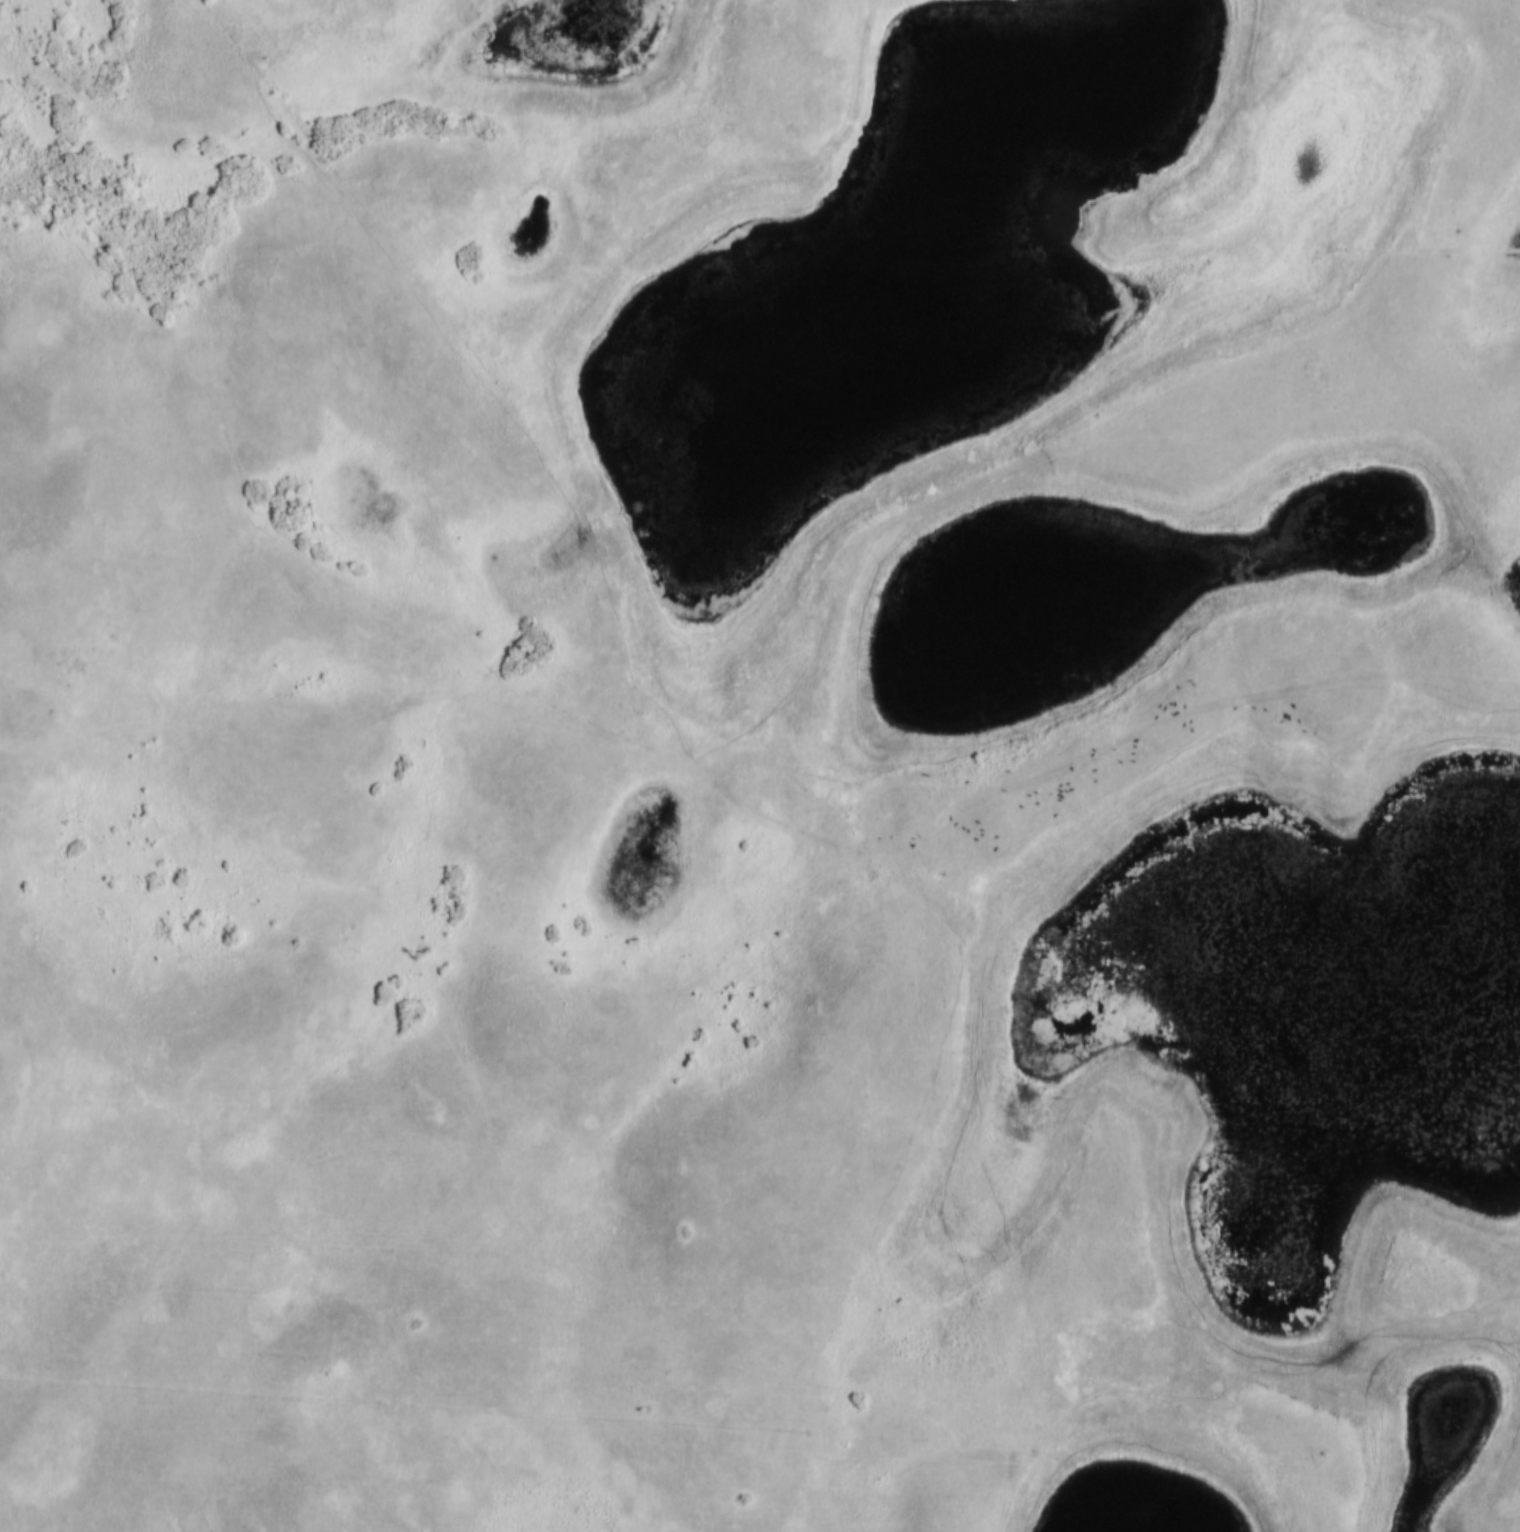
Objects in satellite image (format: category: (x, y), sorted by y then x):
road: (1378, 342)

